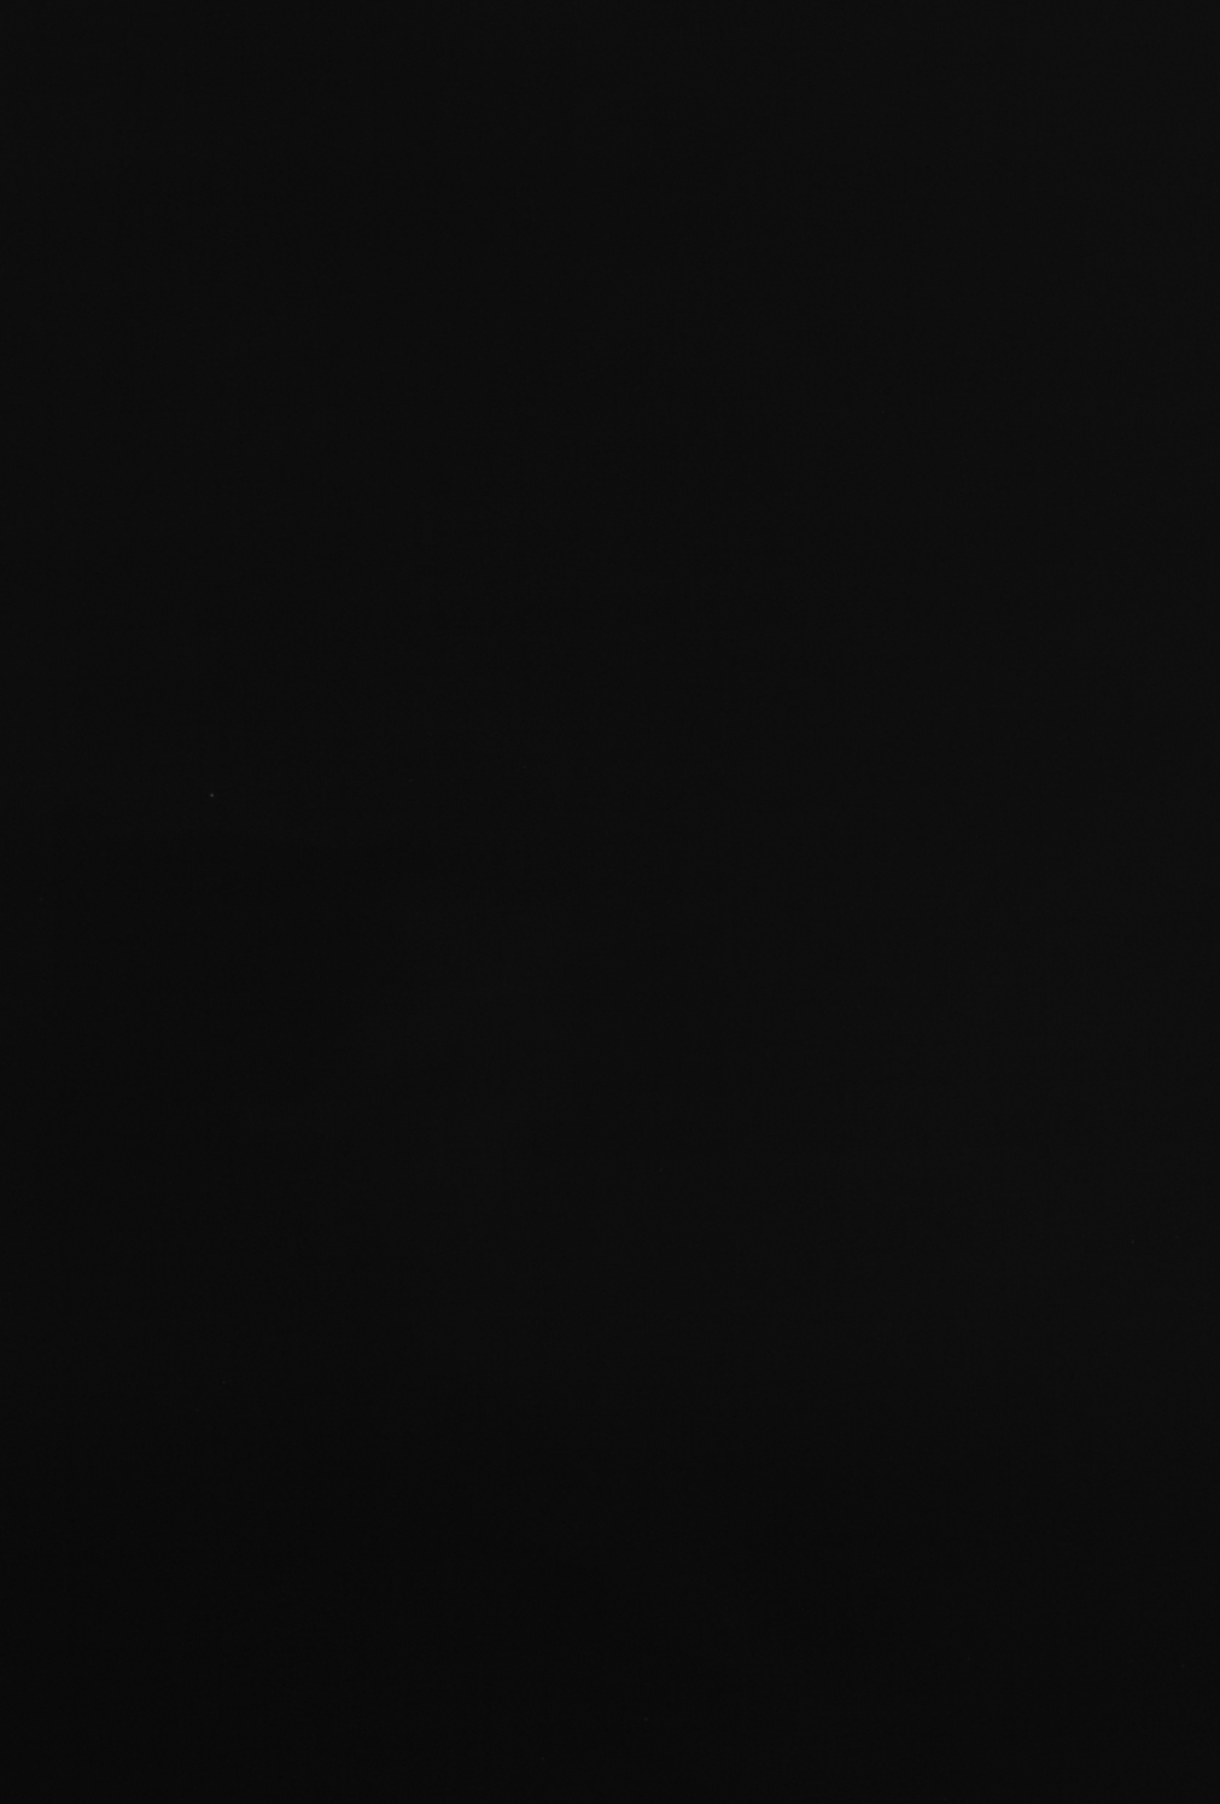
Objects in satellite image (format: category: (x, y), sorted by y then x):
river: (609, 678)

